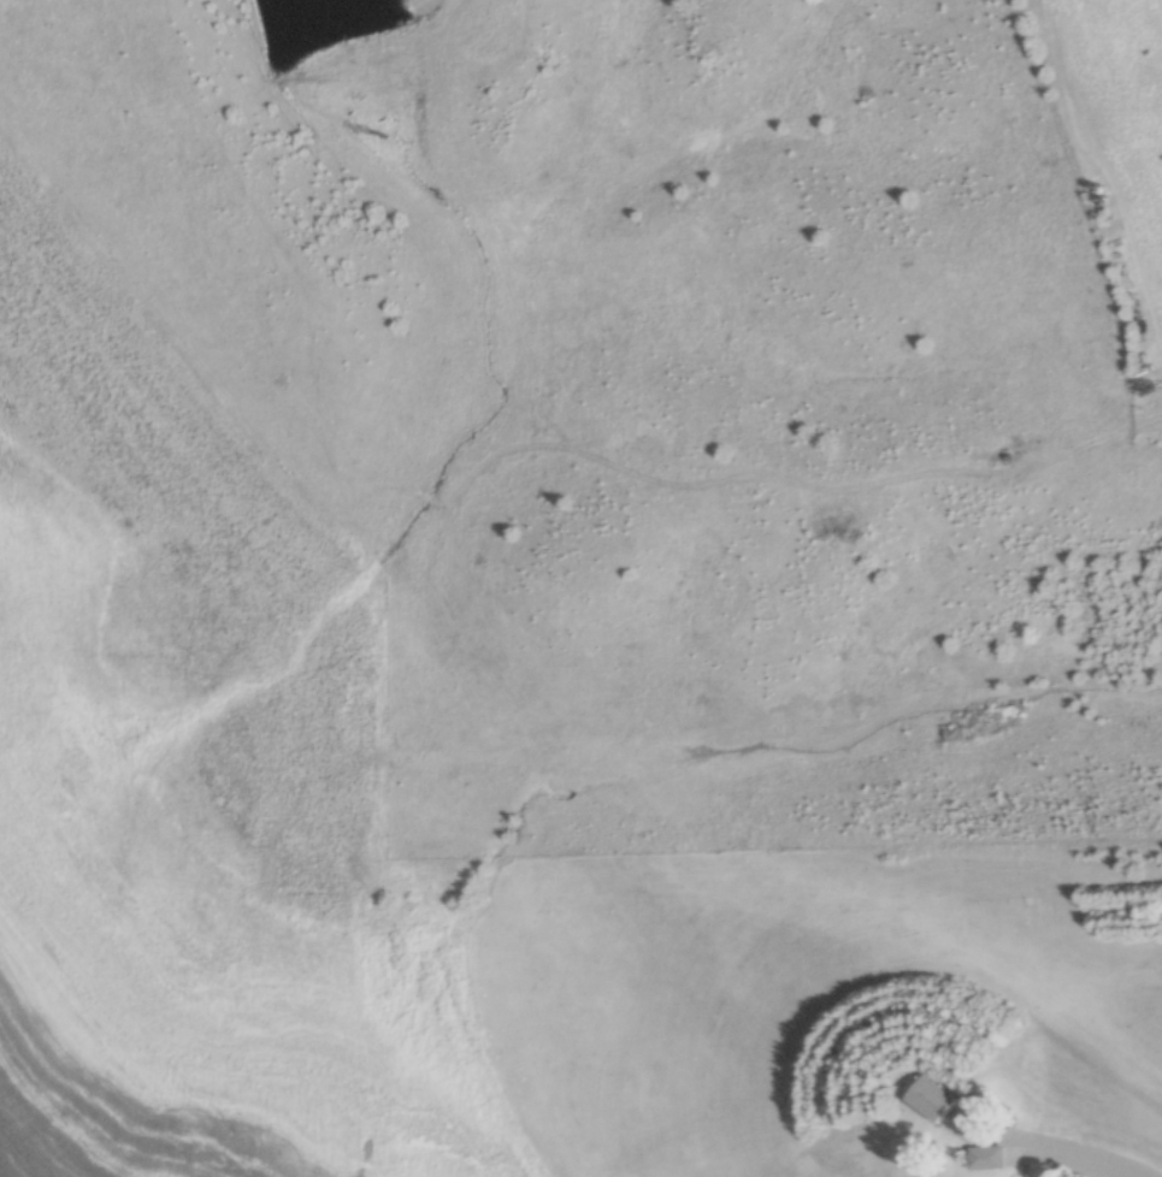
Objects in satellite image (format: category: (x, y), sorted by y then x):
building: (939, 1098)
building: (989, 1157)

